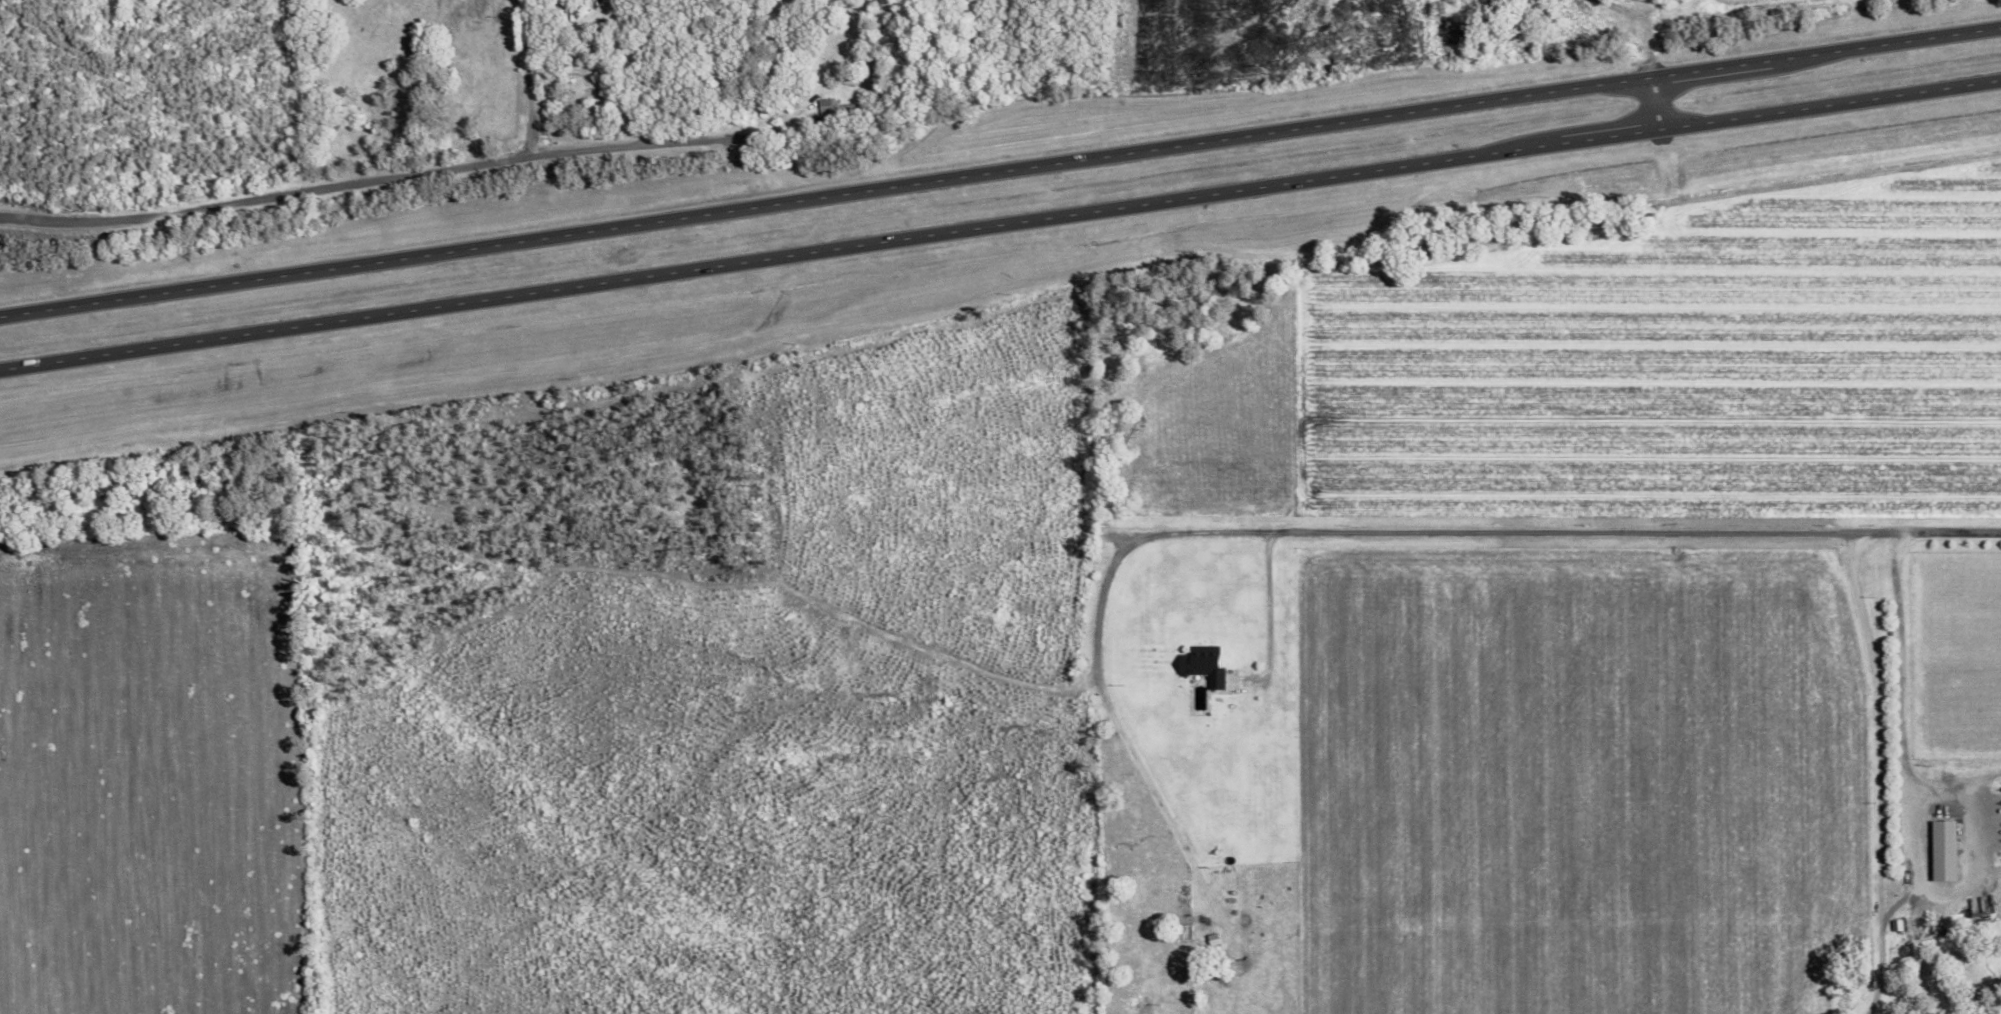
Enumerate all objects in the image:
road: (525, 79)
road: (1651, 103)
road: (1000, 170)
road: (405, 178)
road: (1000, 223)
road: (1317, 532)
road: (1267, 615)
building: (1204, 664)
road: (1899, 705)
road: (1879, 772)
building: (1944, 850)
road: (1922, 862)
building: (1897, 925)

